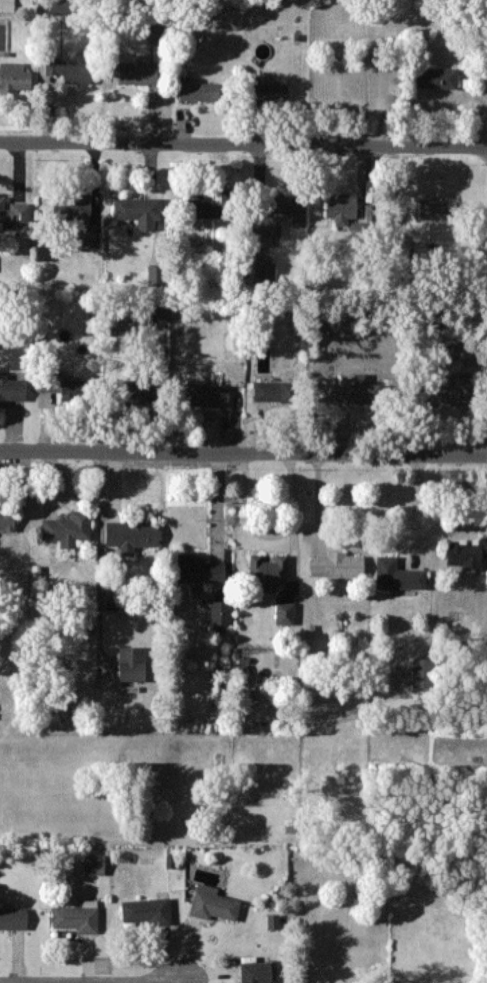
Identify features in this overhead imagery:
building: (7, 6)
building: (56, 6)
building: (69, 70)
building: (137, 72)
building: (14, 76)
building: (436, 77)
building: (199, 91)
building: (270, 92)
road: (243, 145)
building: (72, 206)
building: (202, 207)
building: (341, 209)
building: (438, 209)
building: (137, 211)
building: (14, 214)
building: (279, 214)
building: (90, 239)
building: (265, 271)
building: (156, 273)
building: (157, 311)
building: (61, 385)
building: (11, 389)
building: (273, 391)
building: (357, 391)
building: (133, 393)
building: (204, 394)
road: (243, 453)
road: (292, 504)
road: (419, 507)
road: (245, 512)
building: (7, 520)
building: (68, 528)
building: (131, 534)
building: (464, 554)
building: (336, 564)
building: (268, 569)
building: (199, 571)
building: (397, 574)
building: (220, 612)
building: (285, 612)
building: (134, 663)
building: (421, 672)
building: (95, 864)
building: (213, 903)
building: (146, 911)
building: (77, 917)
building: (13, 918)
building: (273, 921)
building: (258, 971)

